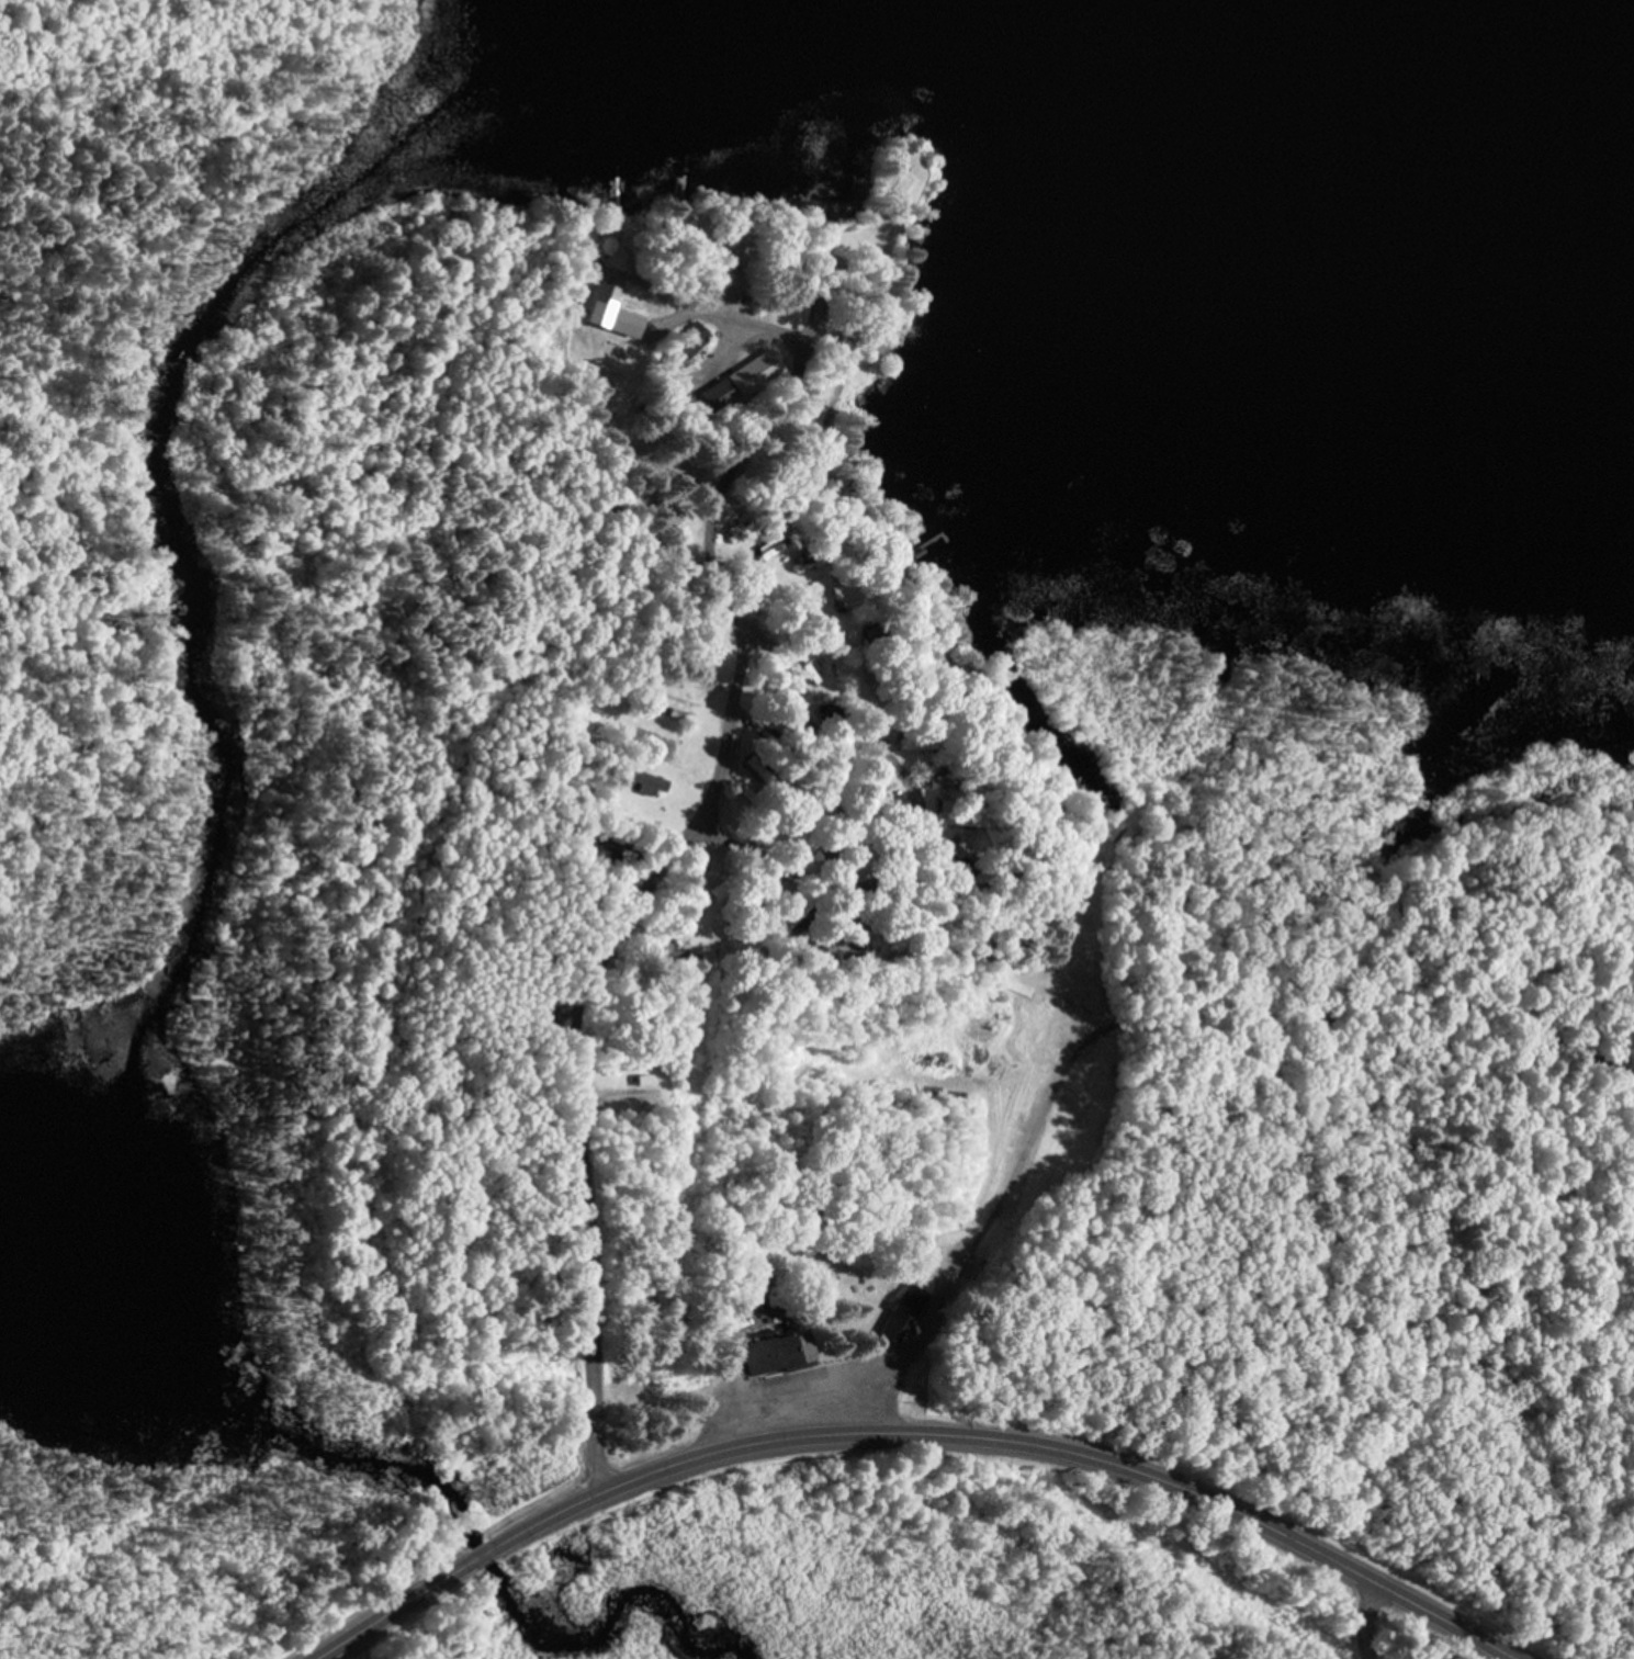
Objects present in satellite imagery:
building: (699, 342)
building: (747, 384)
road: (762, 416)
road: (527, 669)
building: (680, 710)
road: (736, 752)
building: (650, 1083)
road: (598, 1221)
building: (909, 1313)
building: (787, 1356)
road: (914, 1434)
road: (1378, 1622)

